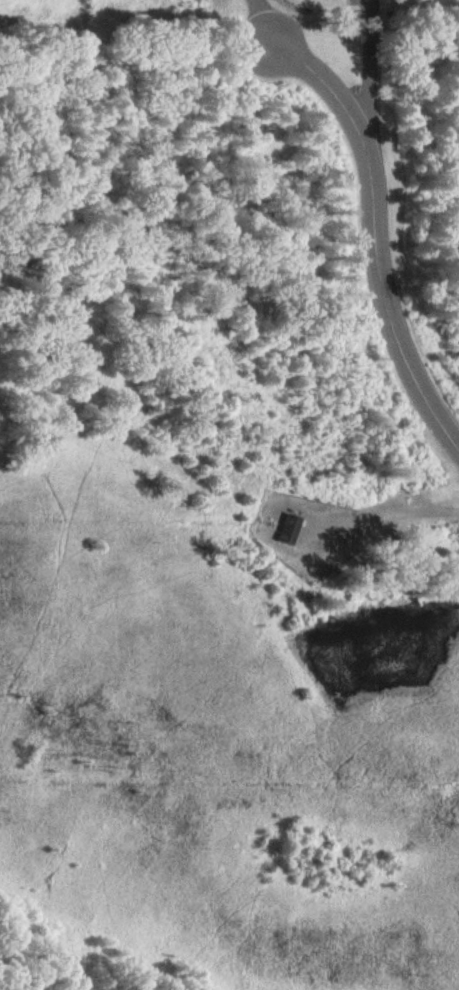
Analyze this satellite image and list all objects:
road: (266, 22)
road: (374, 61)
road: (377, 240)
building: (288, 529)

